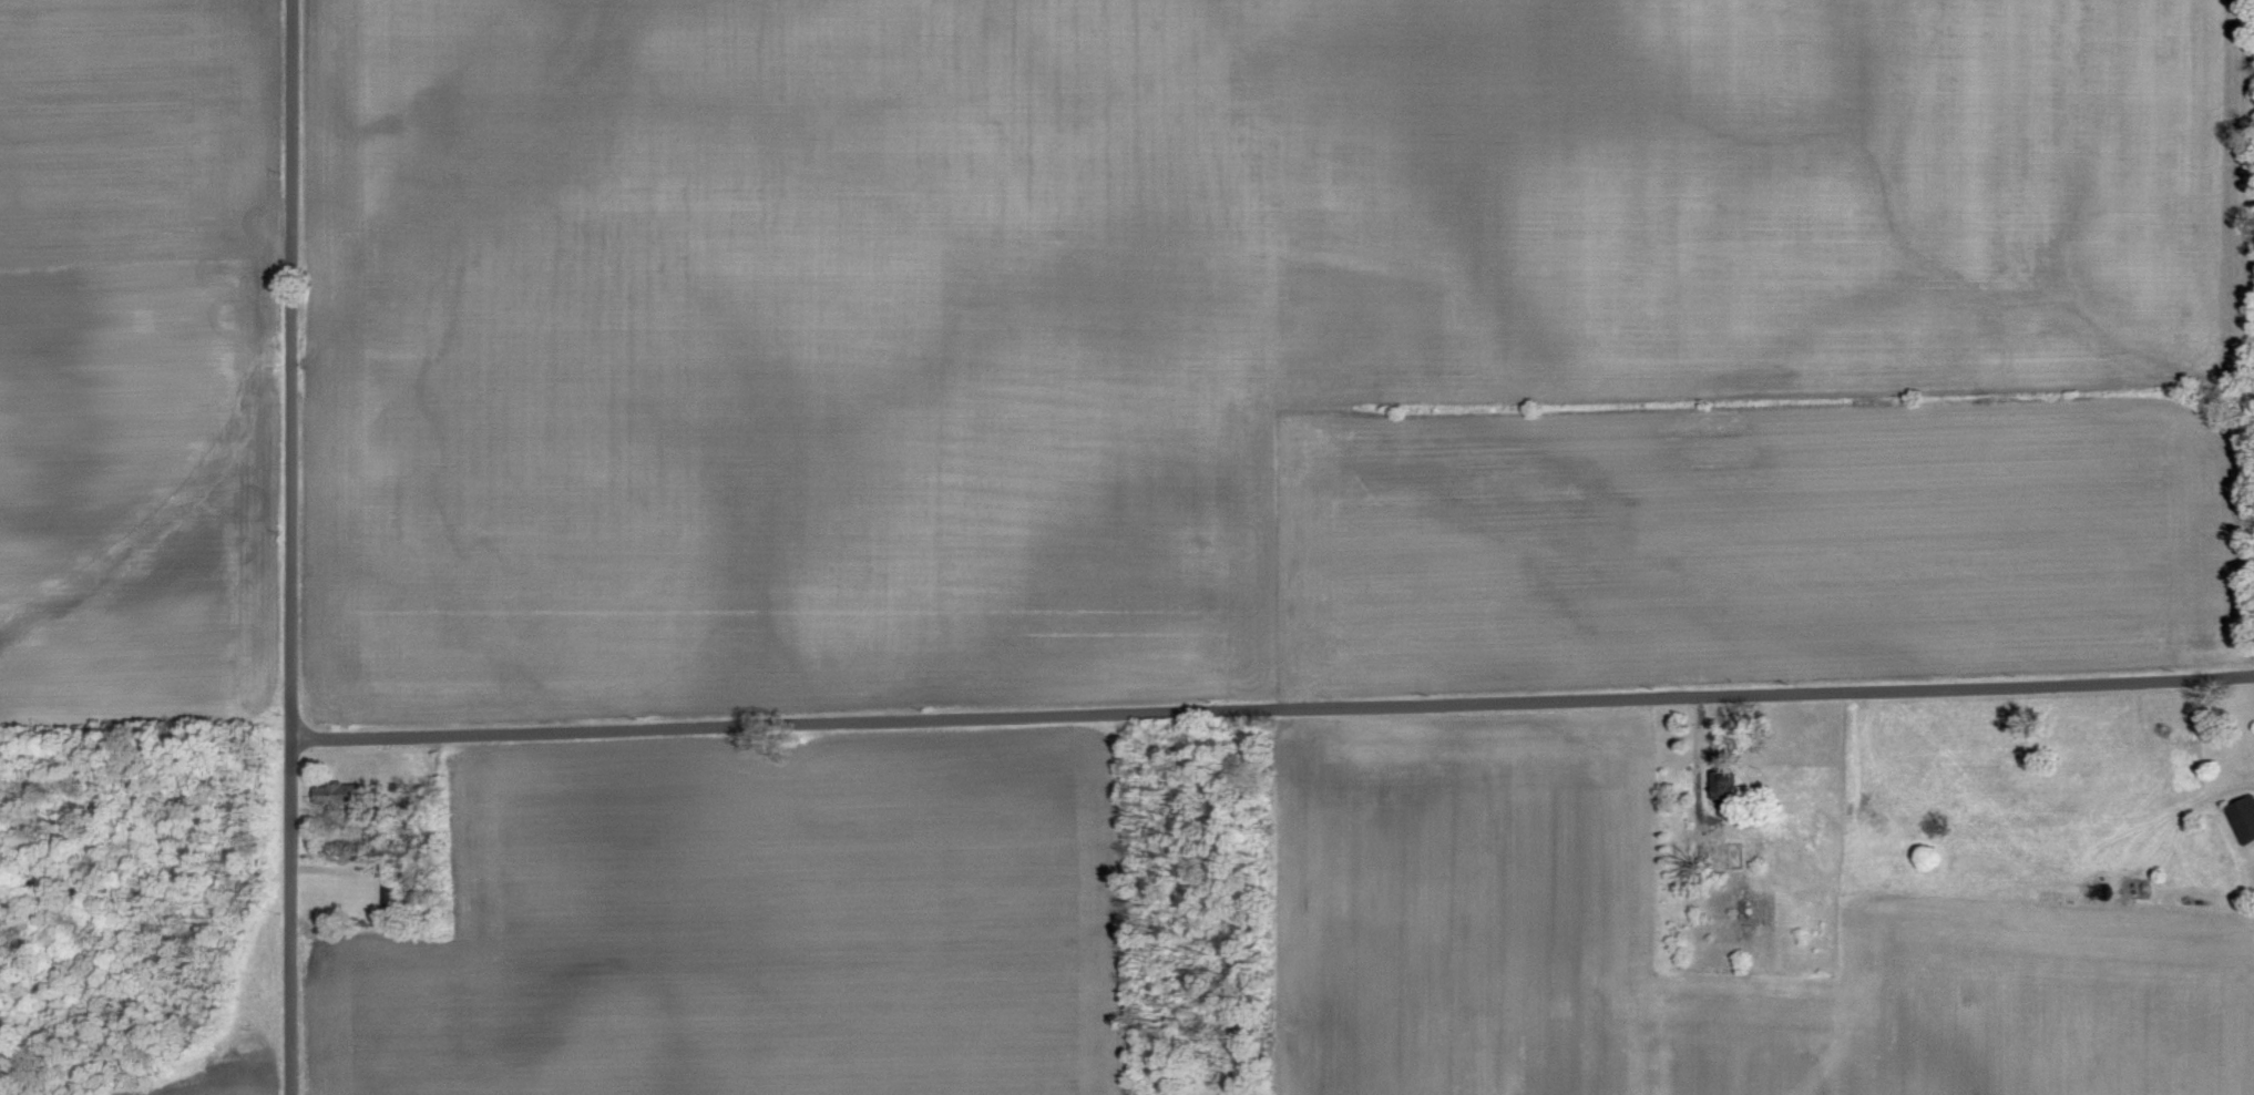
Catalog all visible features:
road: (290, 547)
road: (1272, 707)
road: (1698, 753)
building: (1731, 788)
building: (2243, 817)

